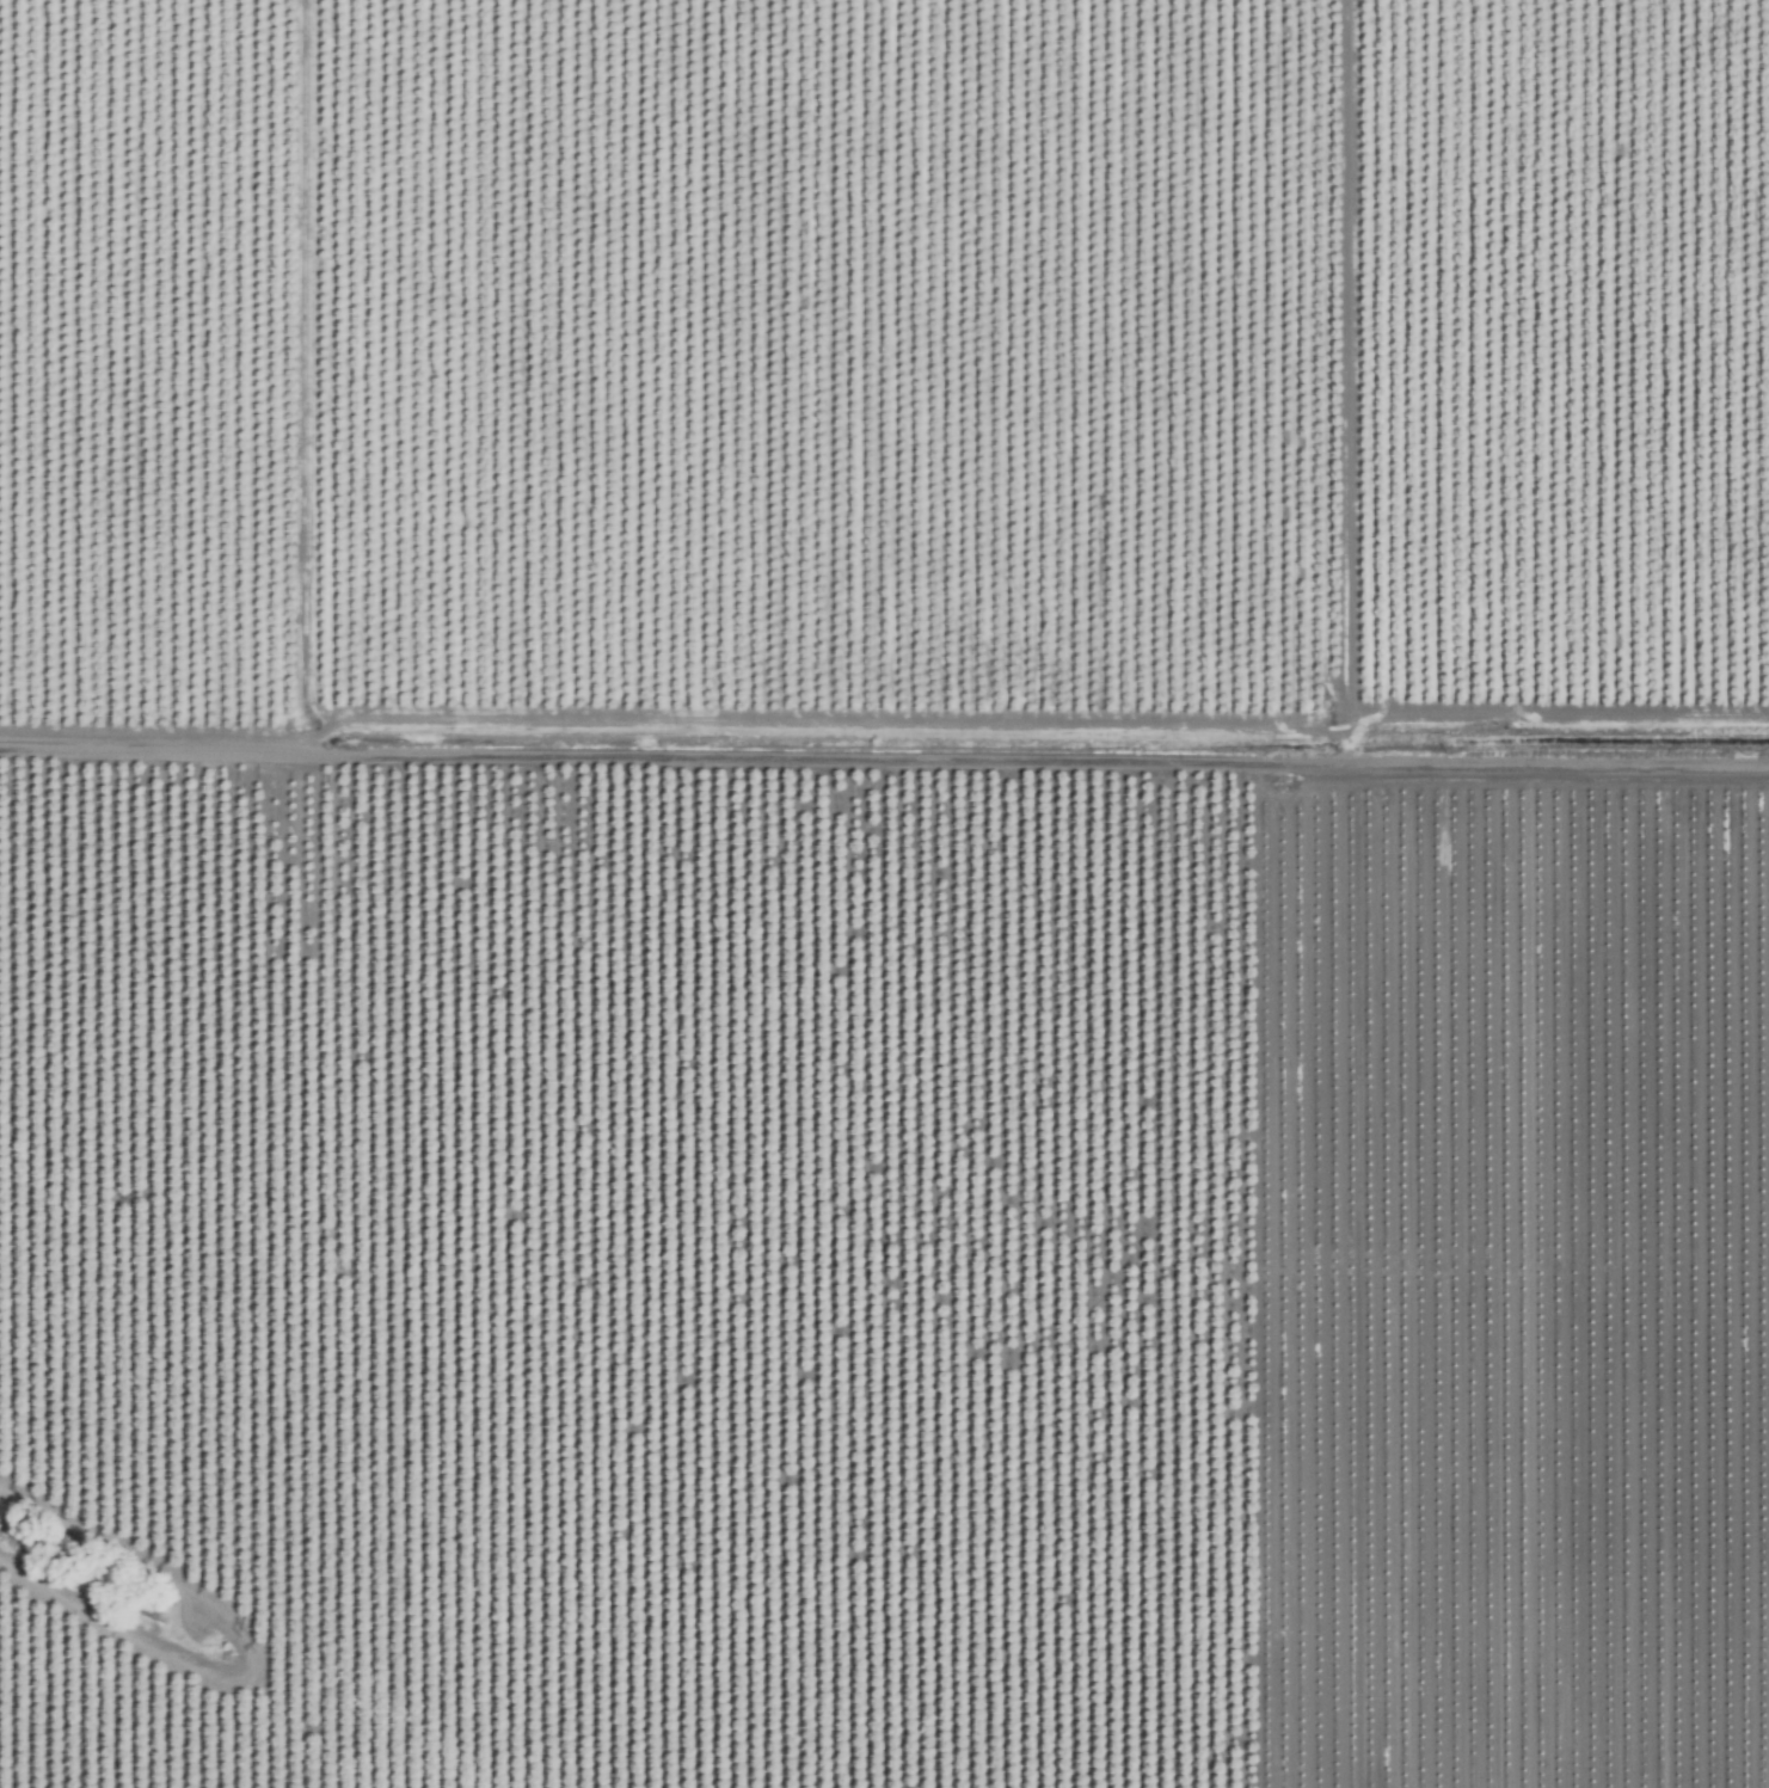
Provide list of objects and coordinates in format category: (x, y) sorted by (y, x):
road: (330, 379)
road: (1347, 383)
road: (1039, 760)
road: (327, 1111)

